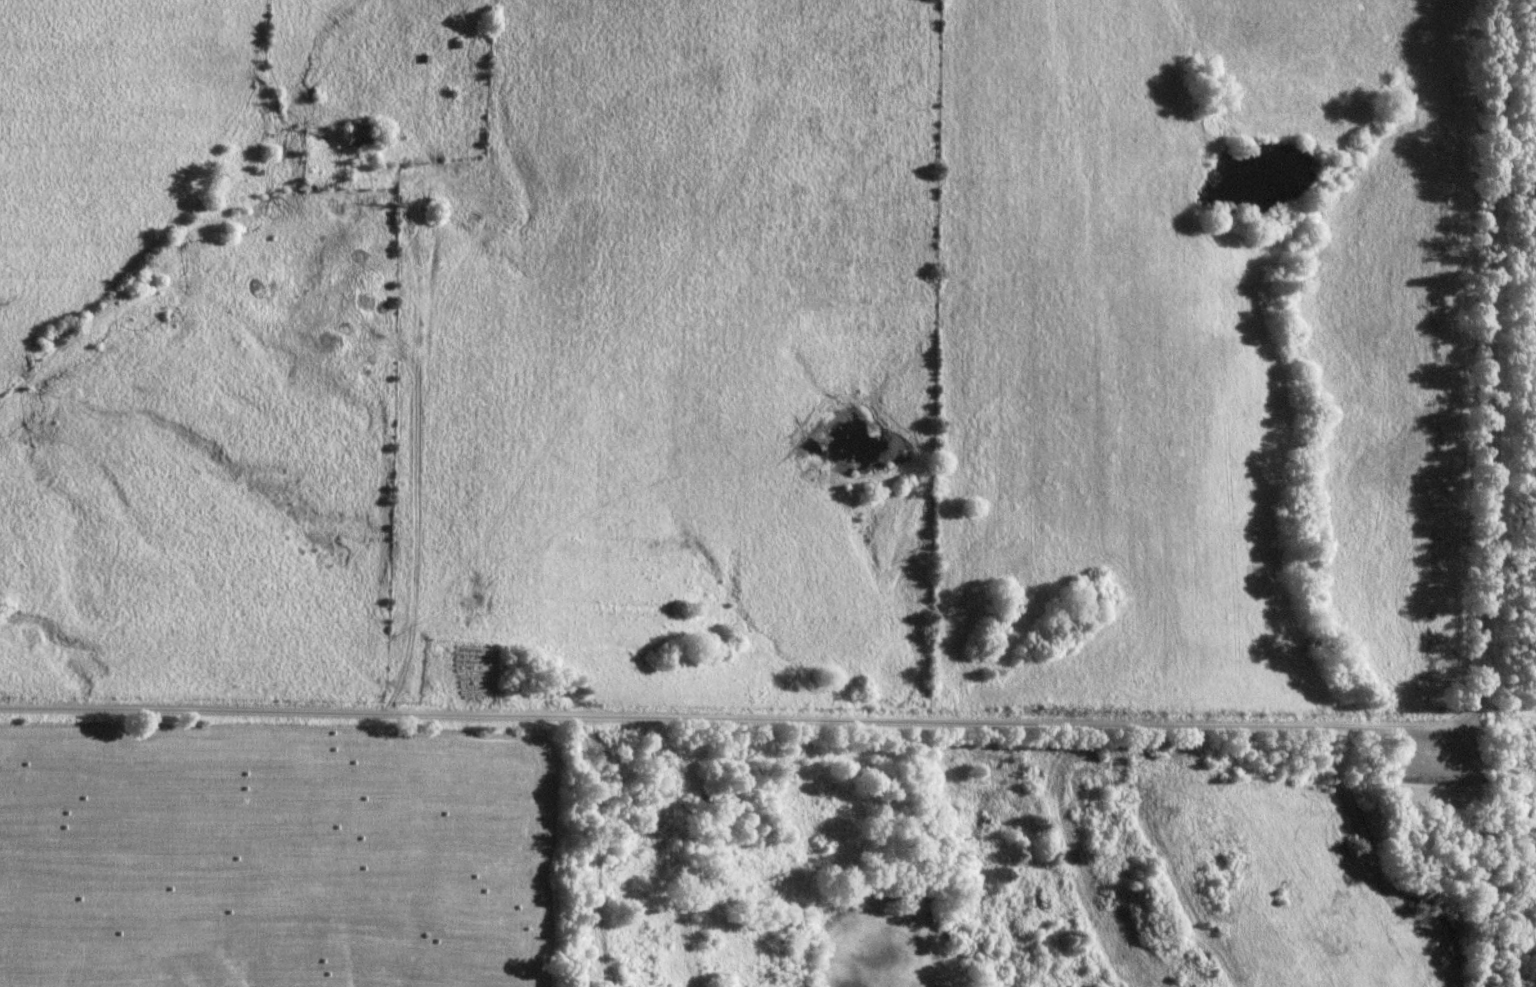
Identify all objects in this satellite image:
building: (357, 136)
road: (1098, 724)

